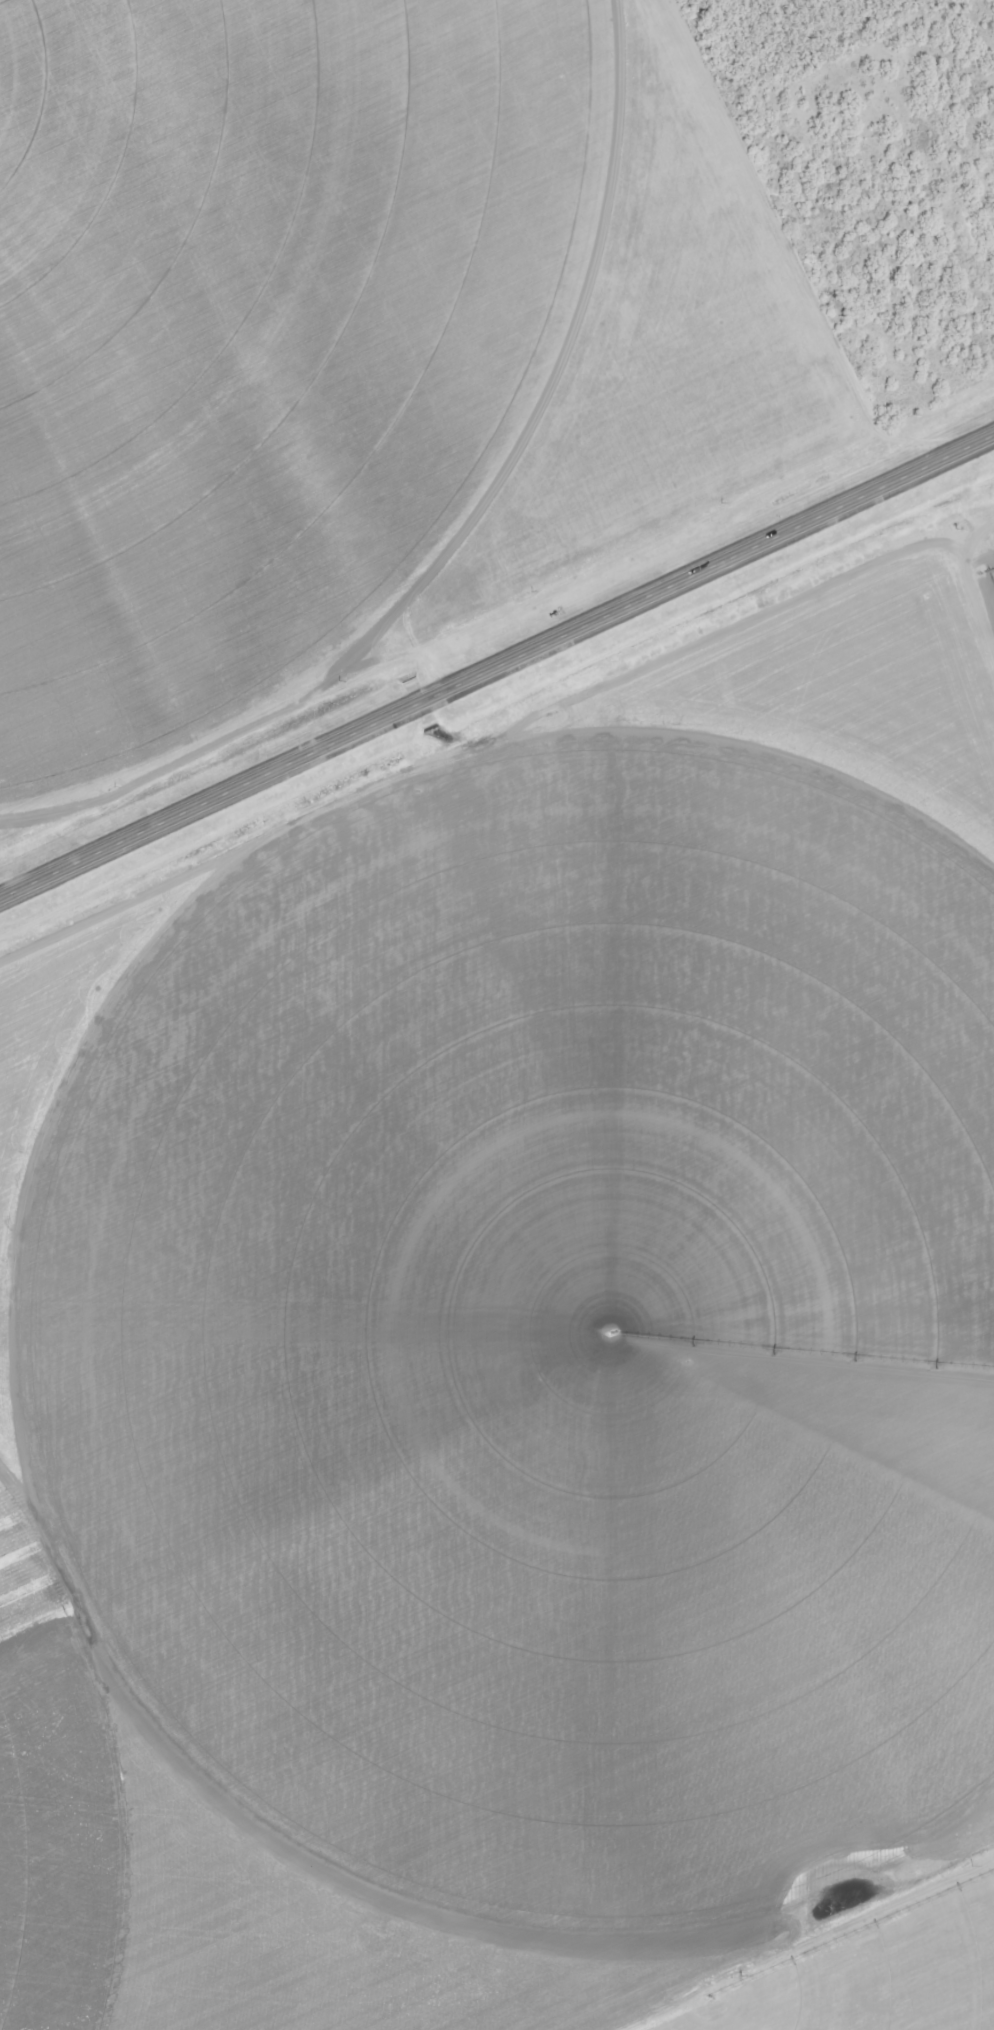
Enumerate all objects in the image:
road: (495, 666)

